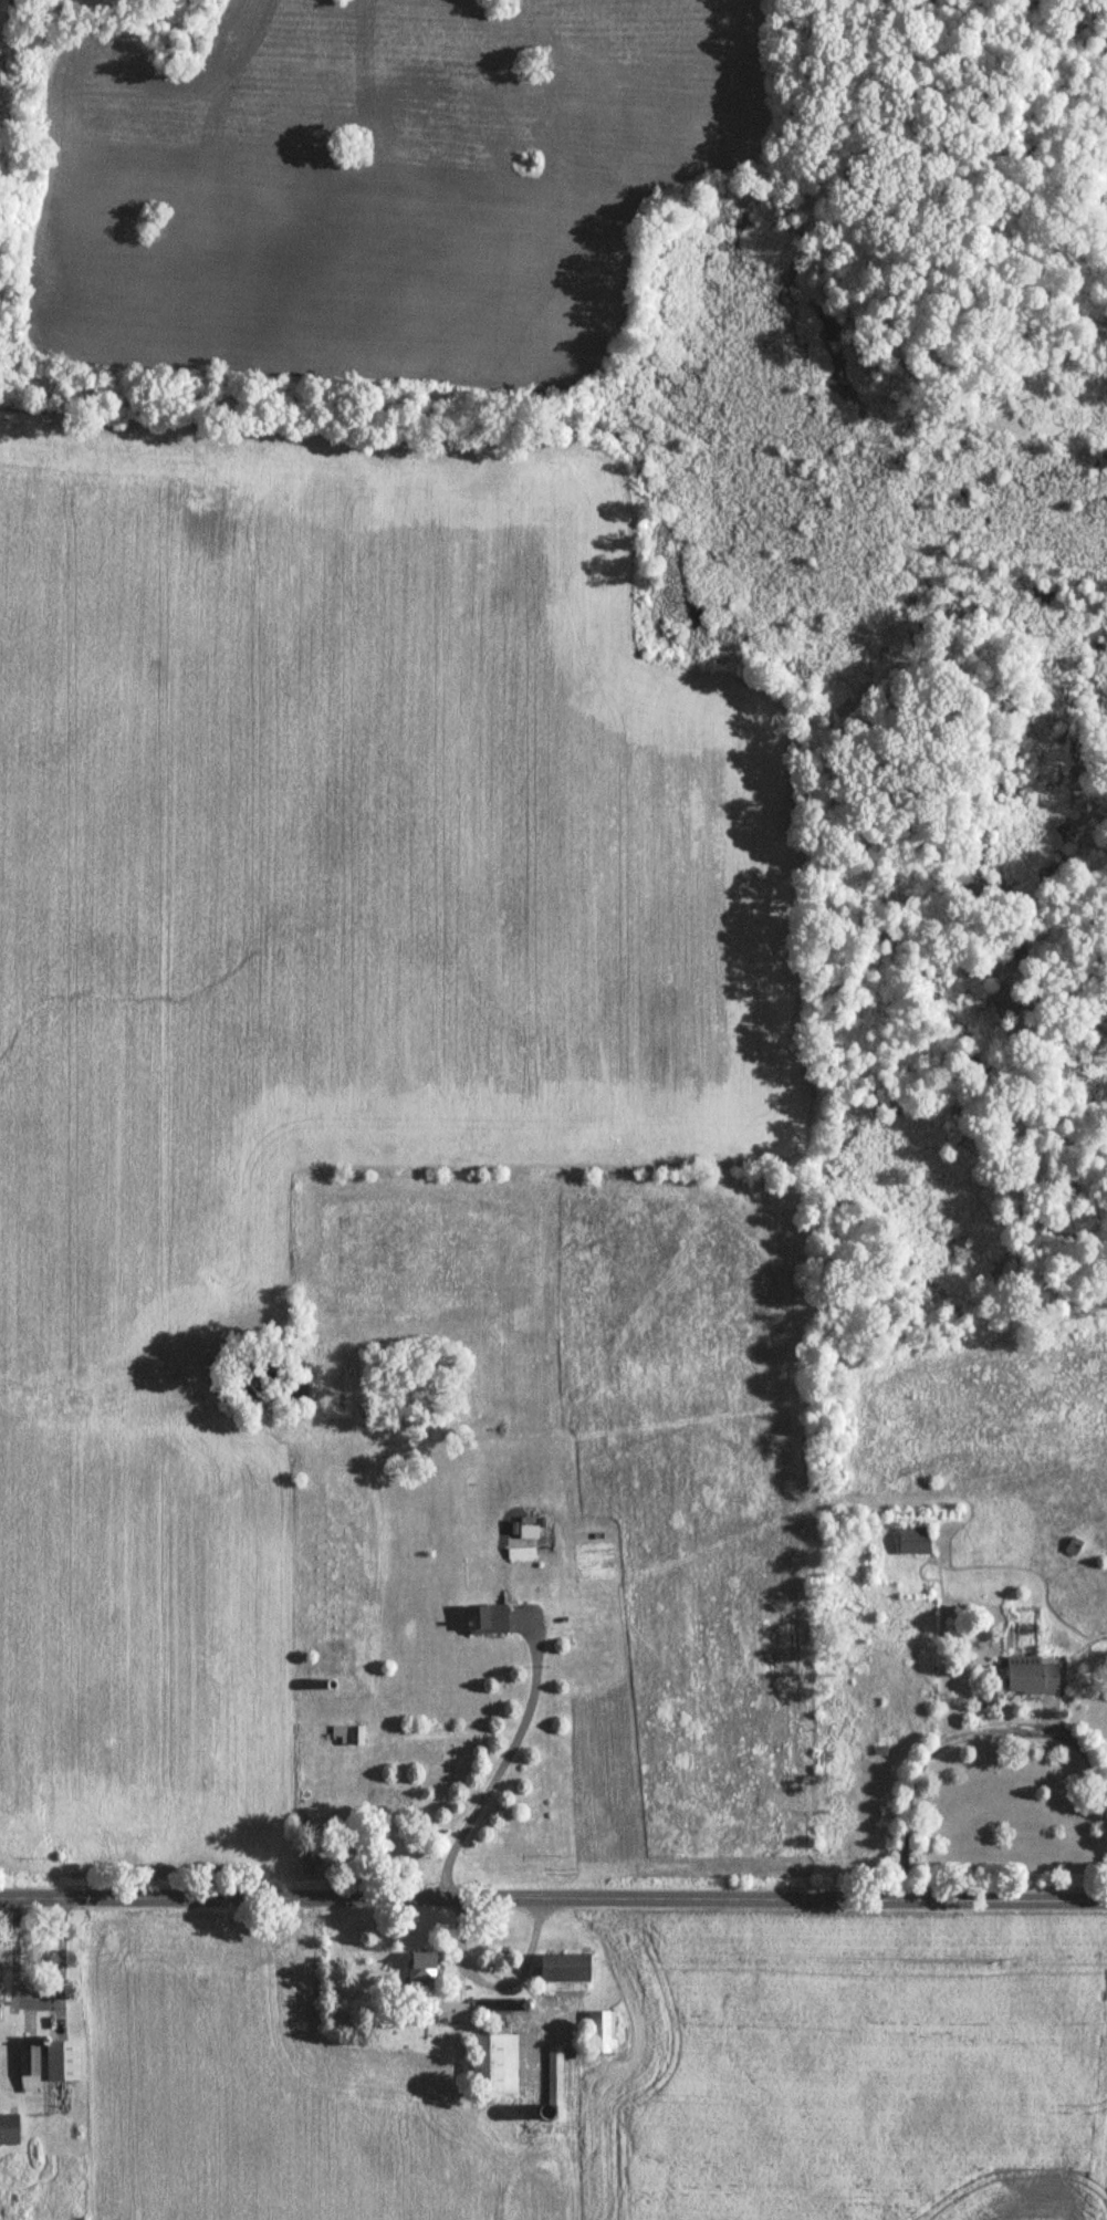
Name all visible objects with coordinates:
building: (913, 1543)
building: (484, 1620)
building: (1031, 1677)
road: (963, 1733)
building: (347, 1736)
road: (502, 1758)
road: (553, 1895)
building: (421, 1968)
building: (563, 1974)
road: (498, 1978)
road: (40, 1999)
building: (453, 2013)
building: (601, 2033)
building: (62, 2062)
building: (495, 2064)
building: (29, 2068)
building: (8, 2132)

